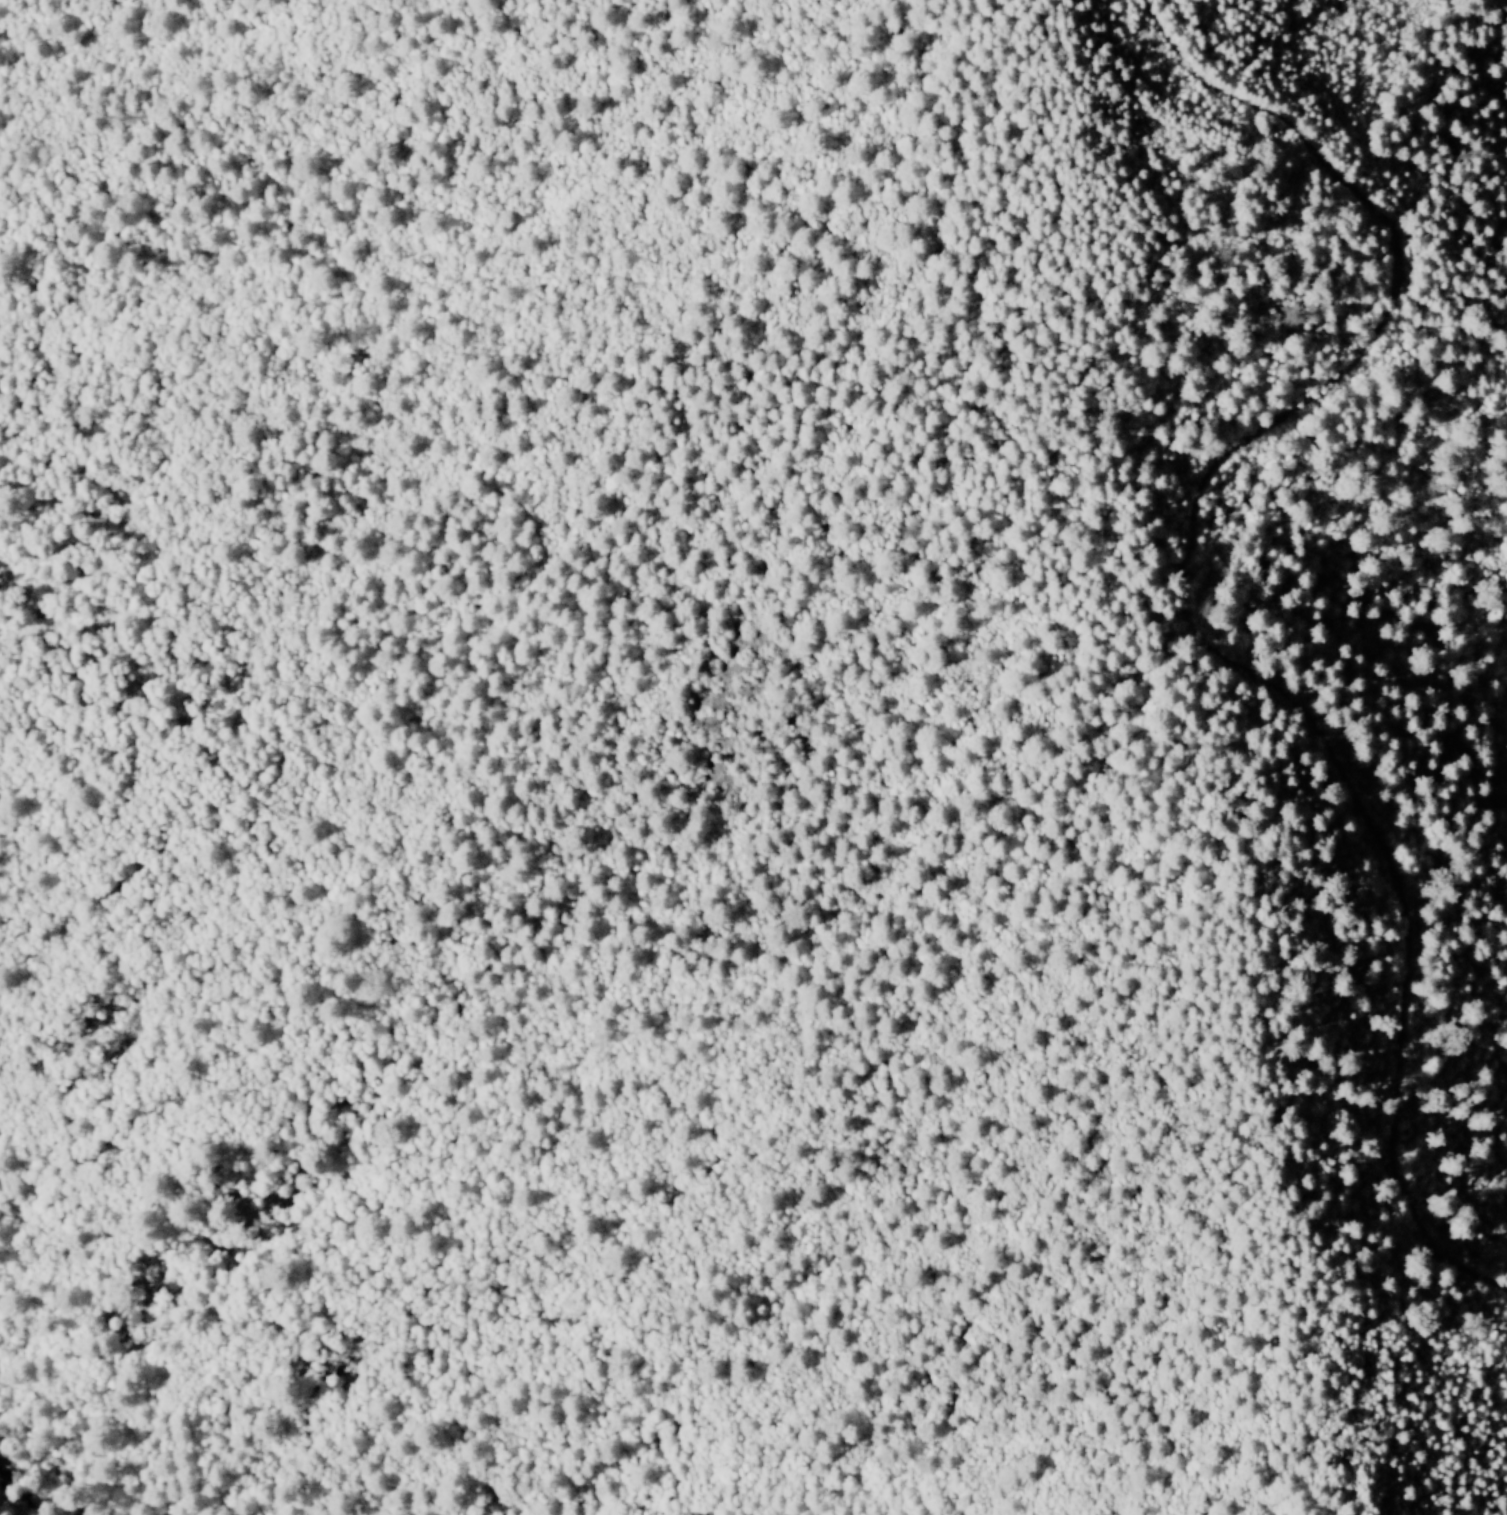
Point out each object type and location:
road: (1184, 614)

